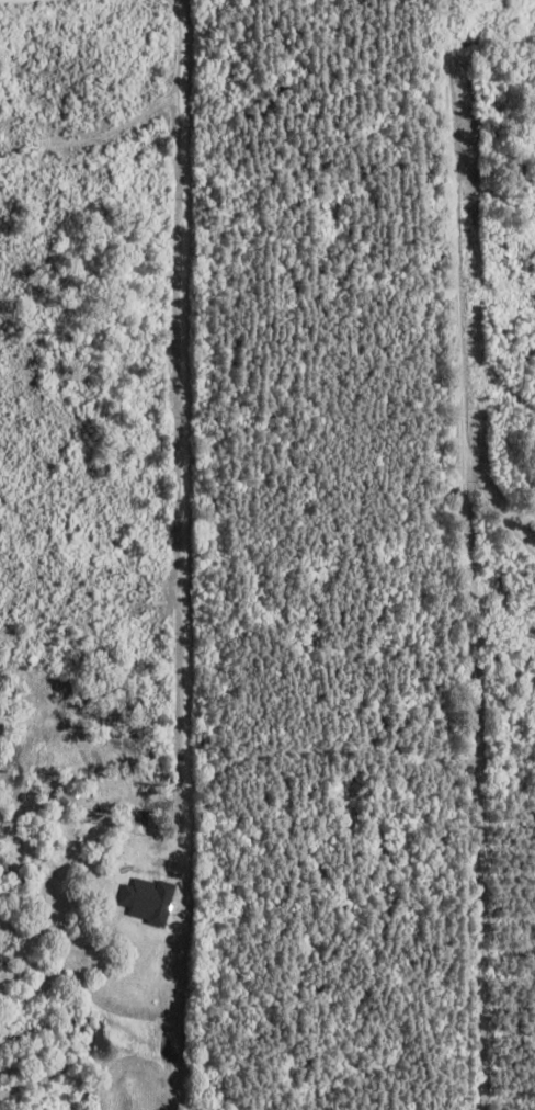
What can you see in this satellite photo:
road: (185, 446)
road: (446, 555)
building: (145, 899)

